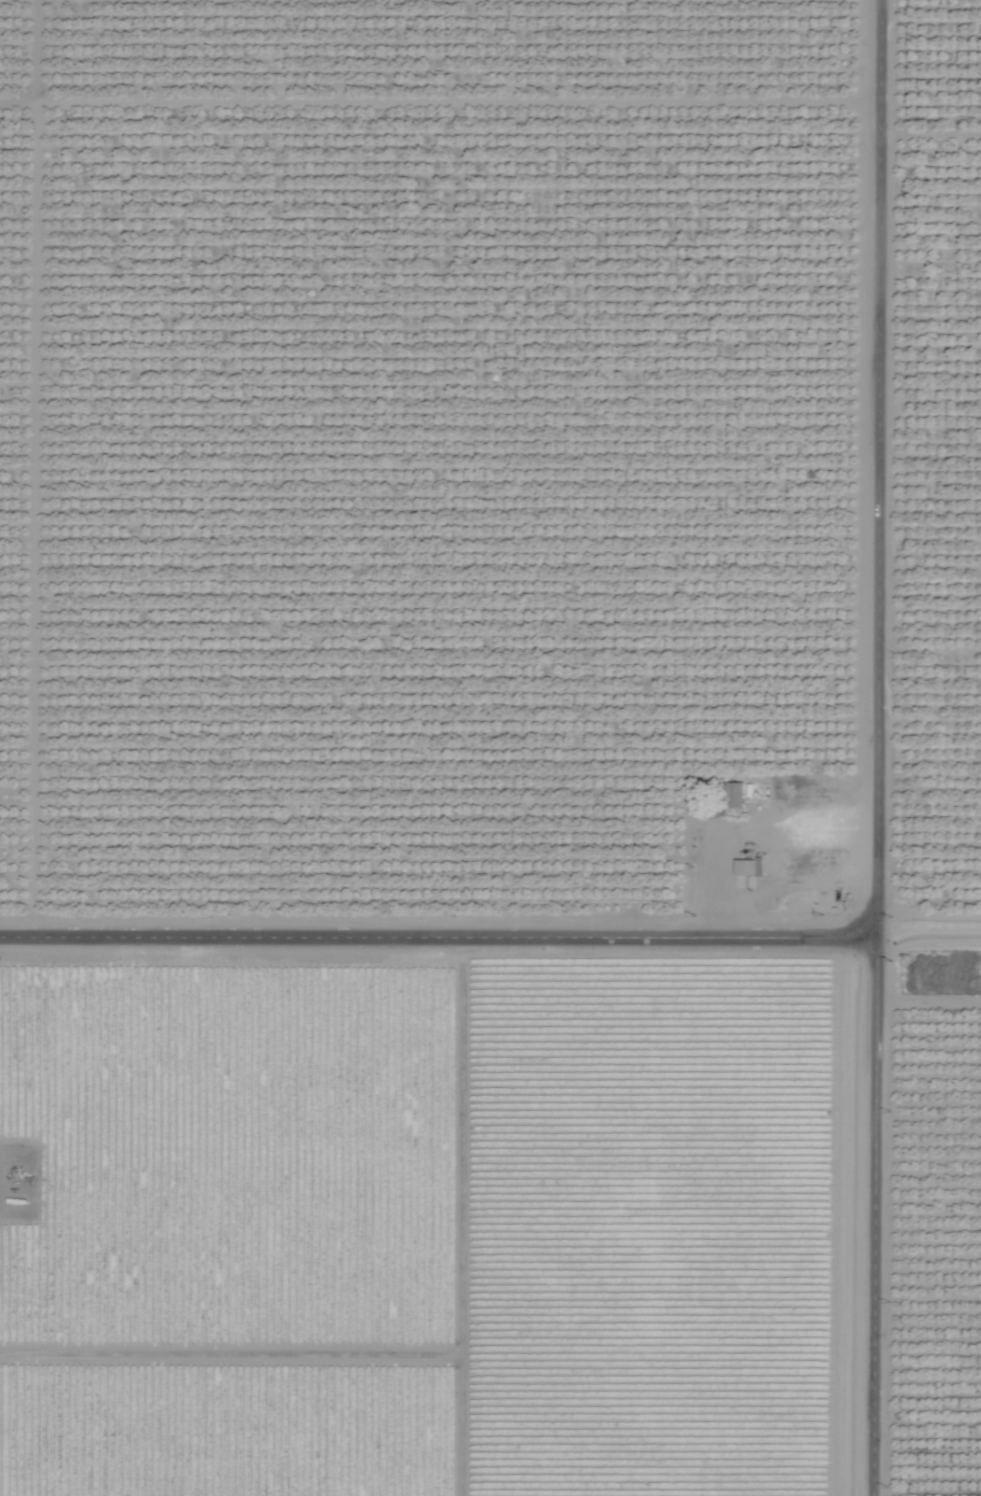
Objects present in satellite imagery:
road: (877, 747)
crop: (490, 748)
building: (734, 795)
building: (749, 866)
road: (438, 932)

